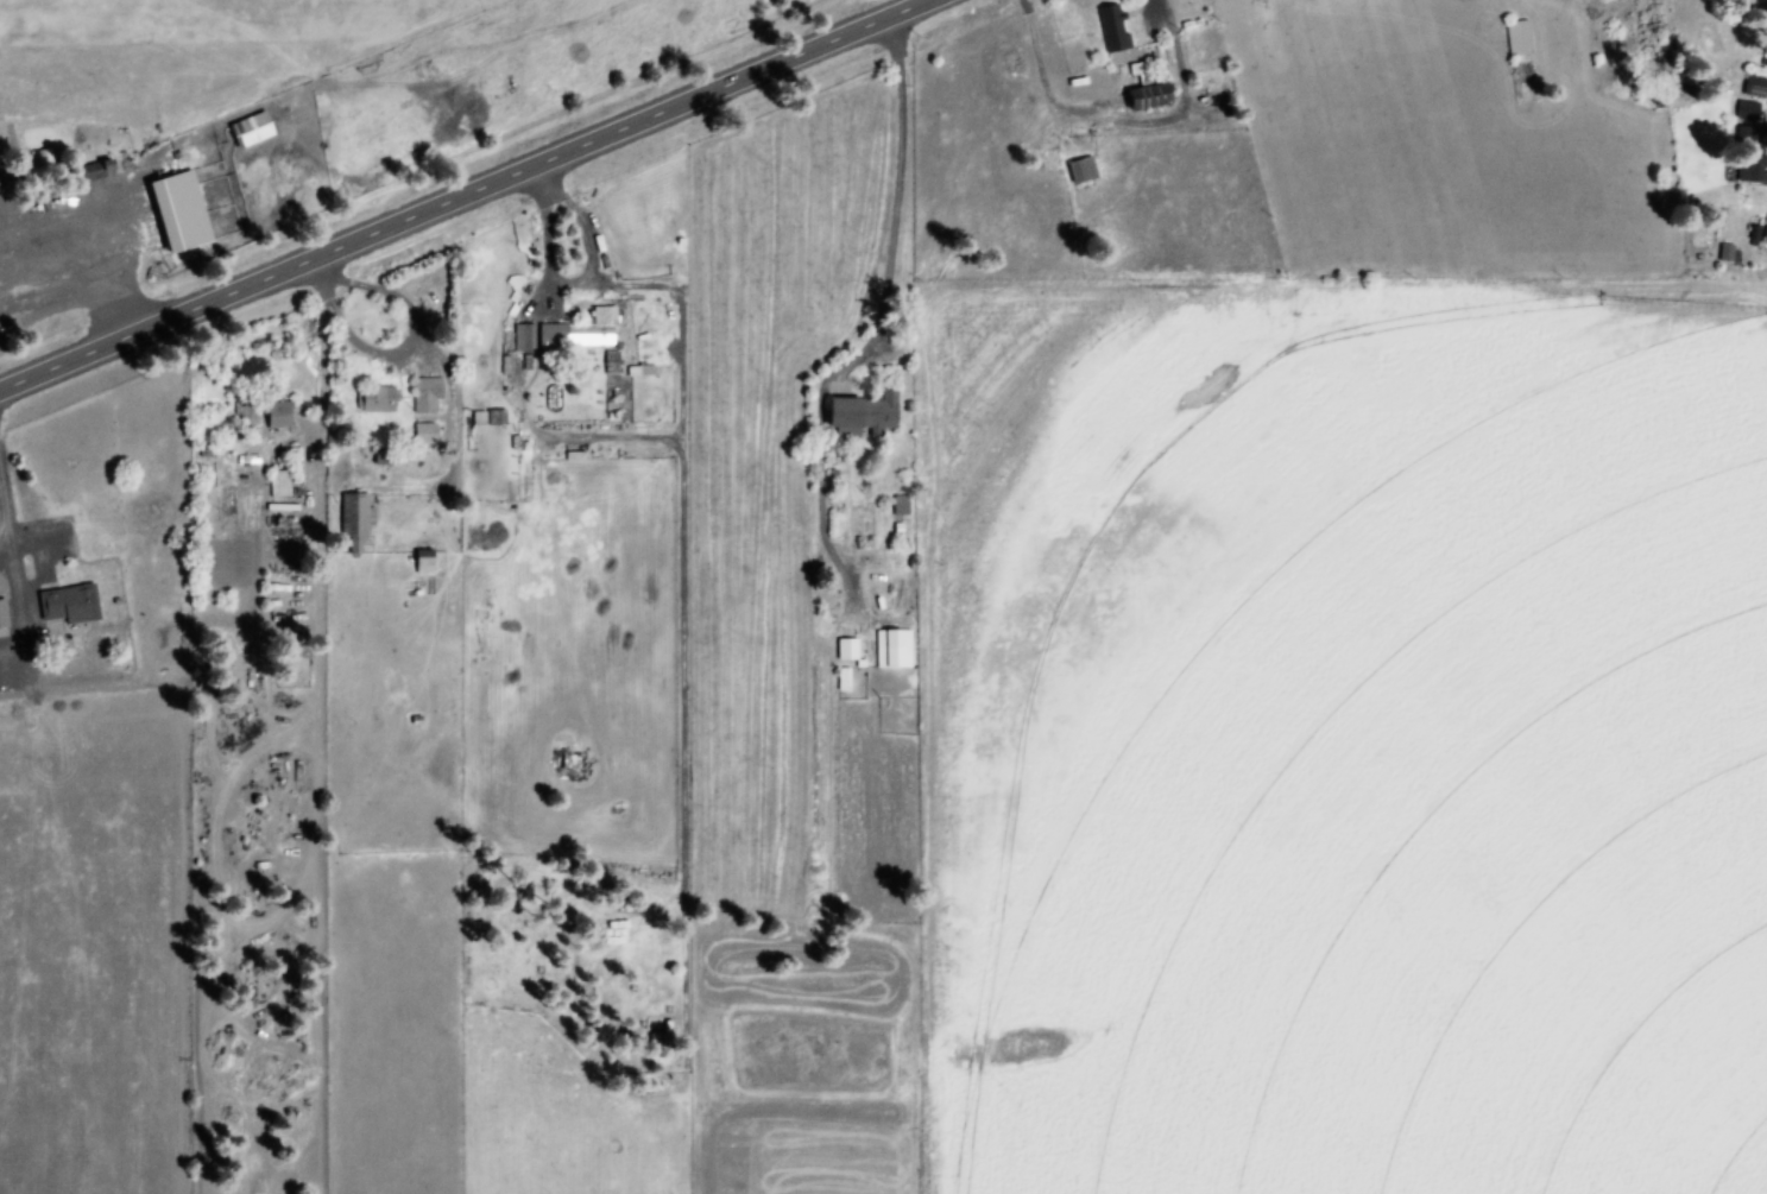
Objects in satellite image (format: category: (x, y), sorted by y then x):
building: (1115, 29)
building: (1520, 39)
building: (1153, 95)
building: (1749, 112)
building: (253, 129)
building: (1753, 156)
building: (99, 171)
building: (1084, 171)
road: (475, 195)
road: (891, 203)
building: (183, 211)
building: (583, 331)
building: (526, 339)
building: (429, 396)
building: (380, 402)
building: (280, 416)
building: (866, 416)
building: (427, 435)
building: (356, 520)
building: (427, 563)
building: (71, 605)
building: (4, 615)
building: (850, 650)
building: (896, 650)
building: (845, 681)

